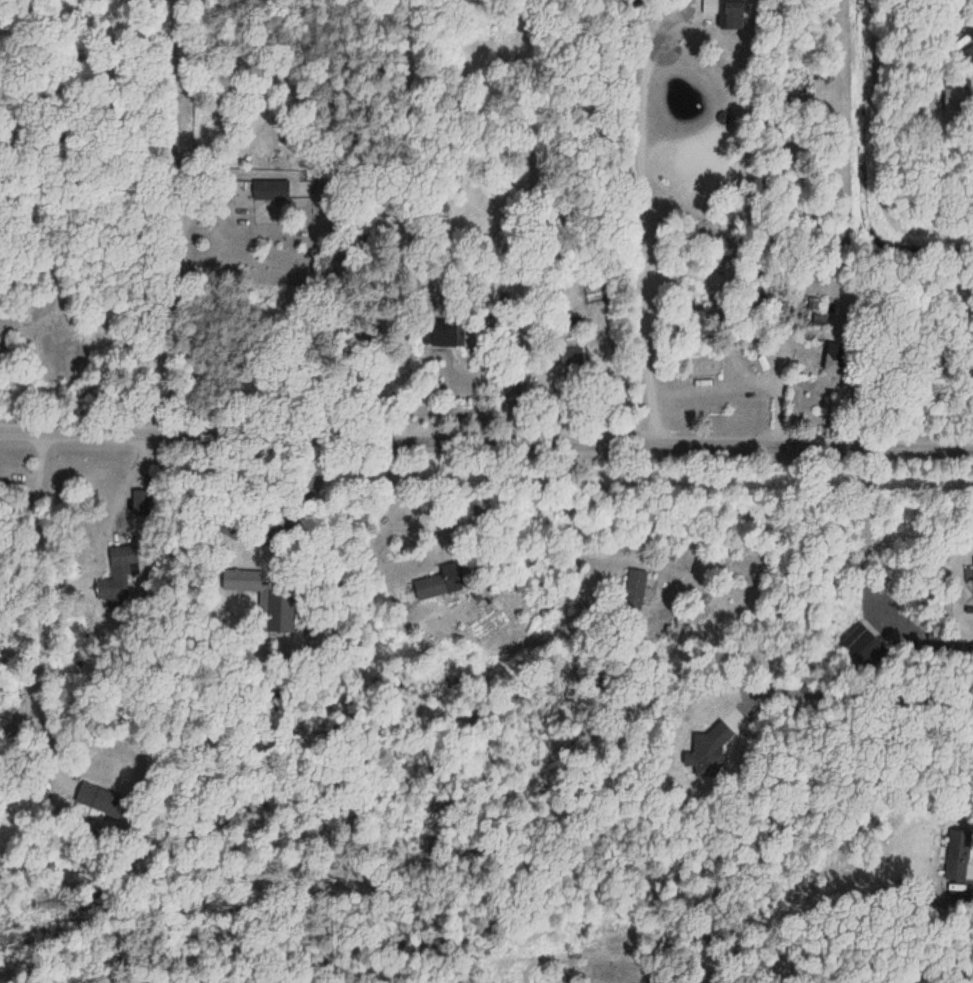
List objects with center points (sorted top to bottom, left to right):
building: (729, 15)
building: (957, 98)
building: (269, 190)
road: (223, 234)
building: (817, 318)
building: (439, 333)
building: (572, 356)
building: (830, 358)
road: (486, 436)
building: (124, 575)
building: (243, 579)
road: (43, 586)
building: (430, 587)
building: (634, 589)
building: (870, 646)
building: (108, 794)
building: (964, 856)

